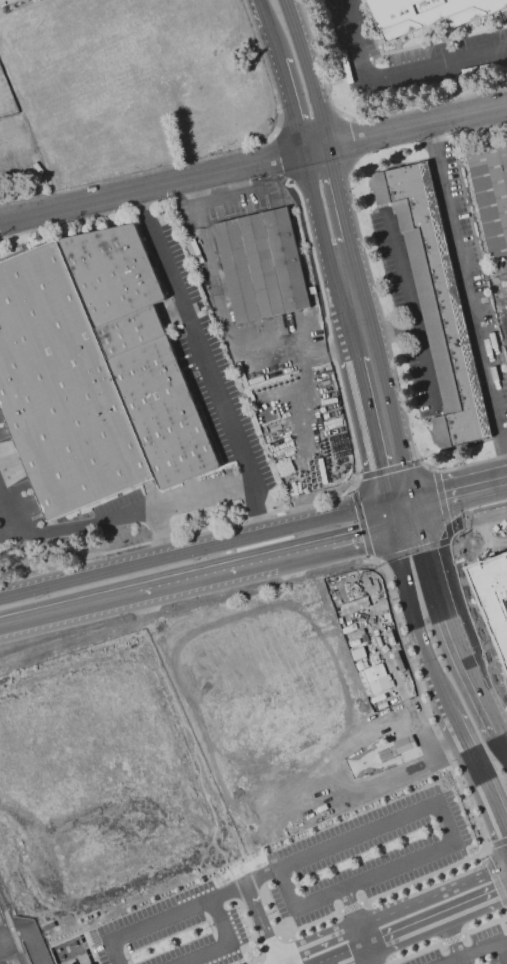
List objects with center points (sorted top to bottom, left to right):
building: (7, 1)
building: (429, 14)
road: (261, 27)
road: (397, 71)
road: (307, 74)
road: (284, 105)
road: (24, 149)
road: (253, 166)
road: (239, 184)
building: (491, 193)
road: (341, 194)
road: (220, 200)
road: (324, 253)
building: (261, 267)
road: (468, 299)
building: (435, 302)
road: (408, 311)
road: (230, 331)
road: (392, 331)
road: (204, 363)
road: (381, 369)
building: (92, 372)
road: (366, 427)
road: (460, 485)
traffic signals: (414, 497)
road: (400, 500)
traffic signals: (386, 504)
road: (419, 508)
road: (465, 508)
road: (126, 512)
road: (389, 516)
road: (7, 519)
traffic signals: (424, 520)
road: (408, 524)
traffic signals: (392, 528)
road: (156, 532)
road: (354, 536)
road: (369, 550)
road: (192, 551)
road: (399, 556)
road: (269, 557)
road: (177, 581)
building: (493, 602)
road: (67, 610)
road: (452, 626)
road: (426, 650)
building: (376, 678)
road: (501, 742)
building: (396, 748)
road: (425, 764)
road: (478, 776)
road: (441, 795)
road: (45, 834)
road: (498, 871)
road: (261, 875)
parking lot: (337, 896)
road: (423, 898)
road: (349, 905)
road: (252, 907)
road: (437, 917)
road: (147, 923)
railway: (12, 934)
road: (362, 936)
road: (453, 939)
road: (315, 940)
road: (228, 943)
road: (32, 946)
road: (481, 950)
road: (350, 953)
road: (370, 955)
road: (327, 962)
building: (89, 963)

